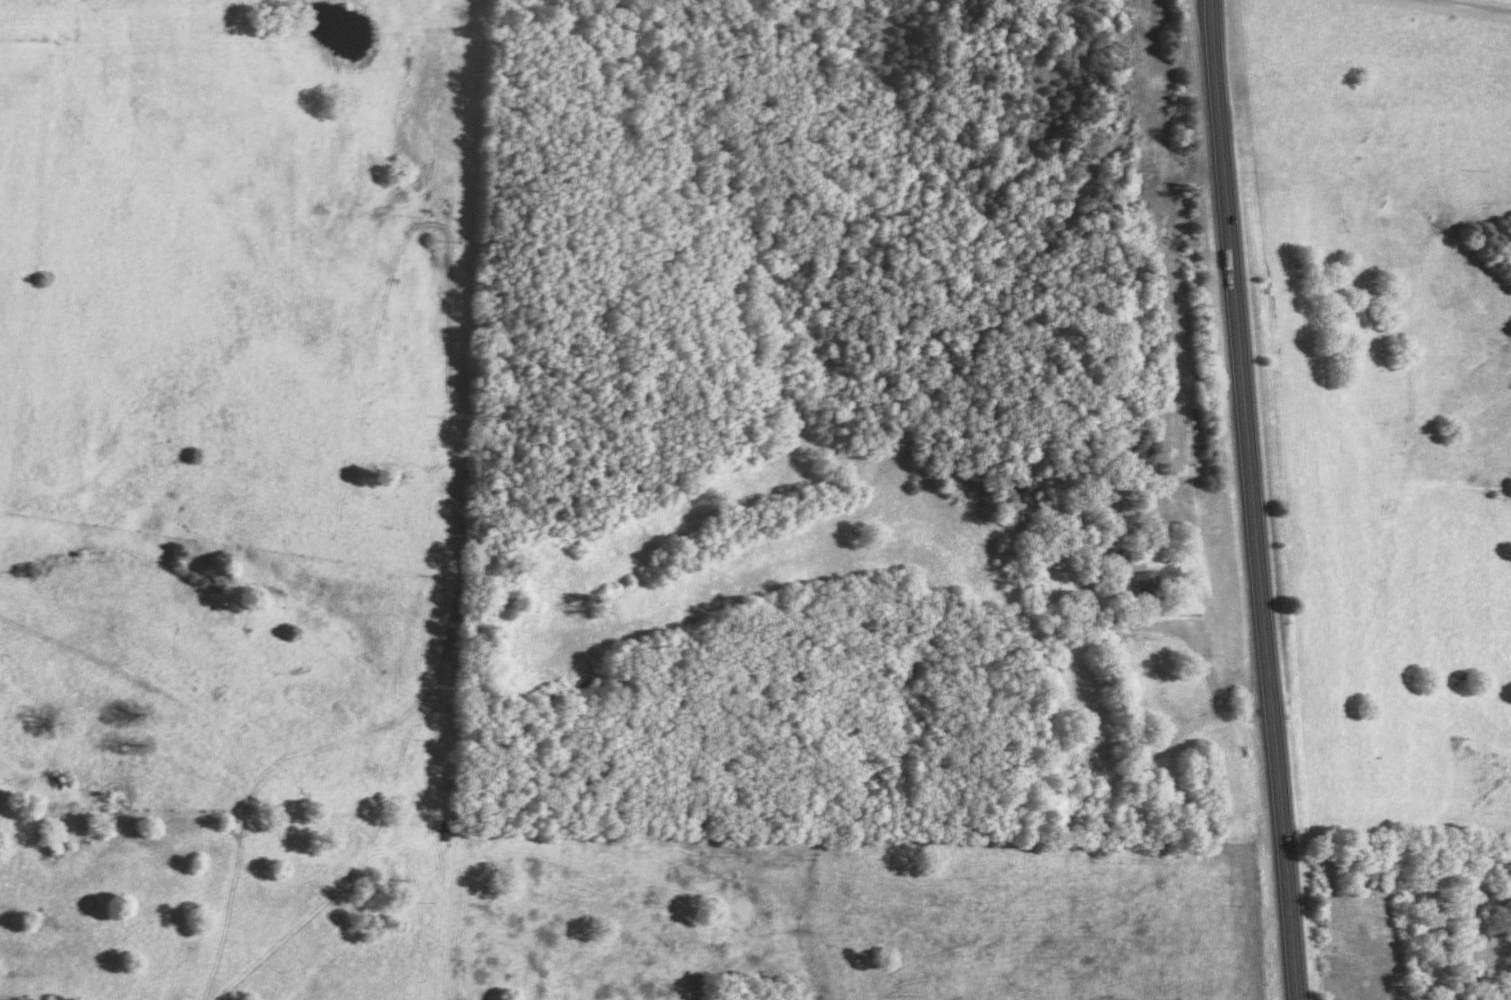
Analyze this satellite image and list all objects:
road: (1255, 500)
building: (1144, 589)

